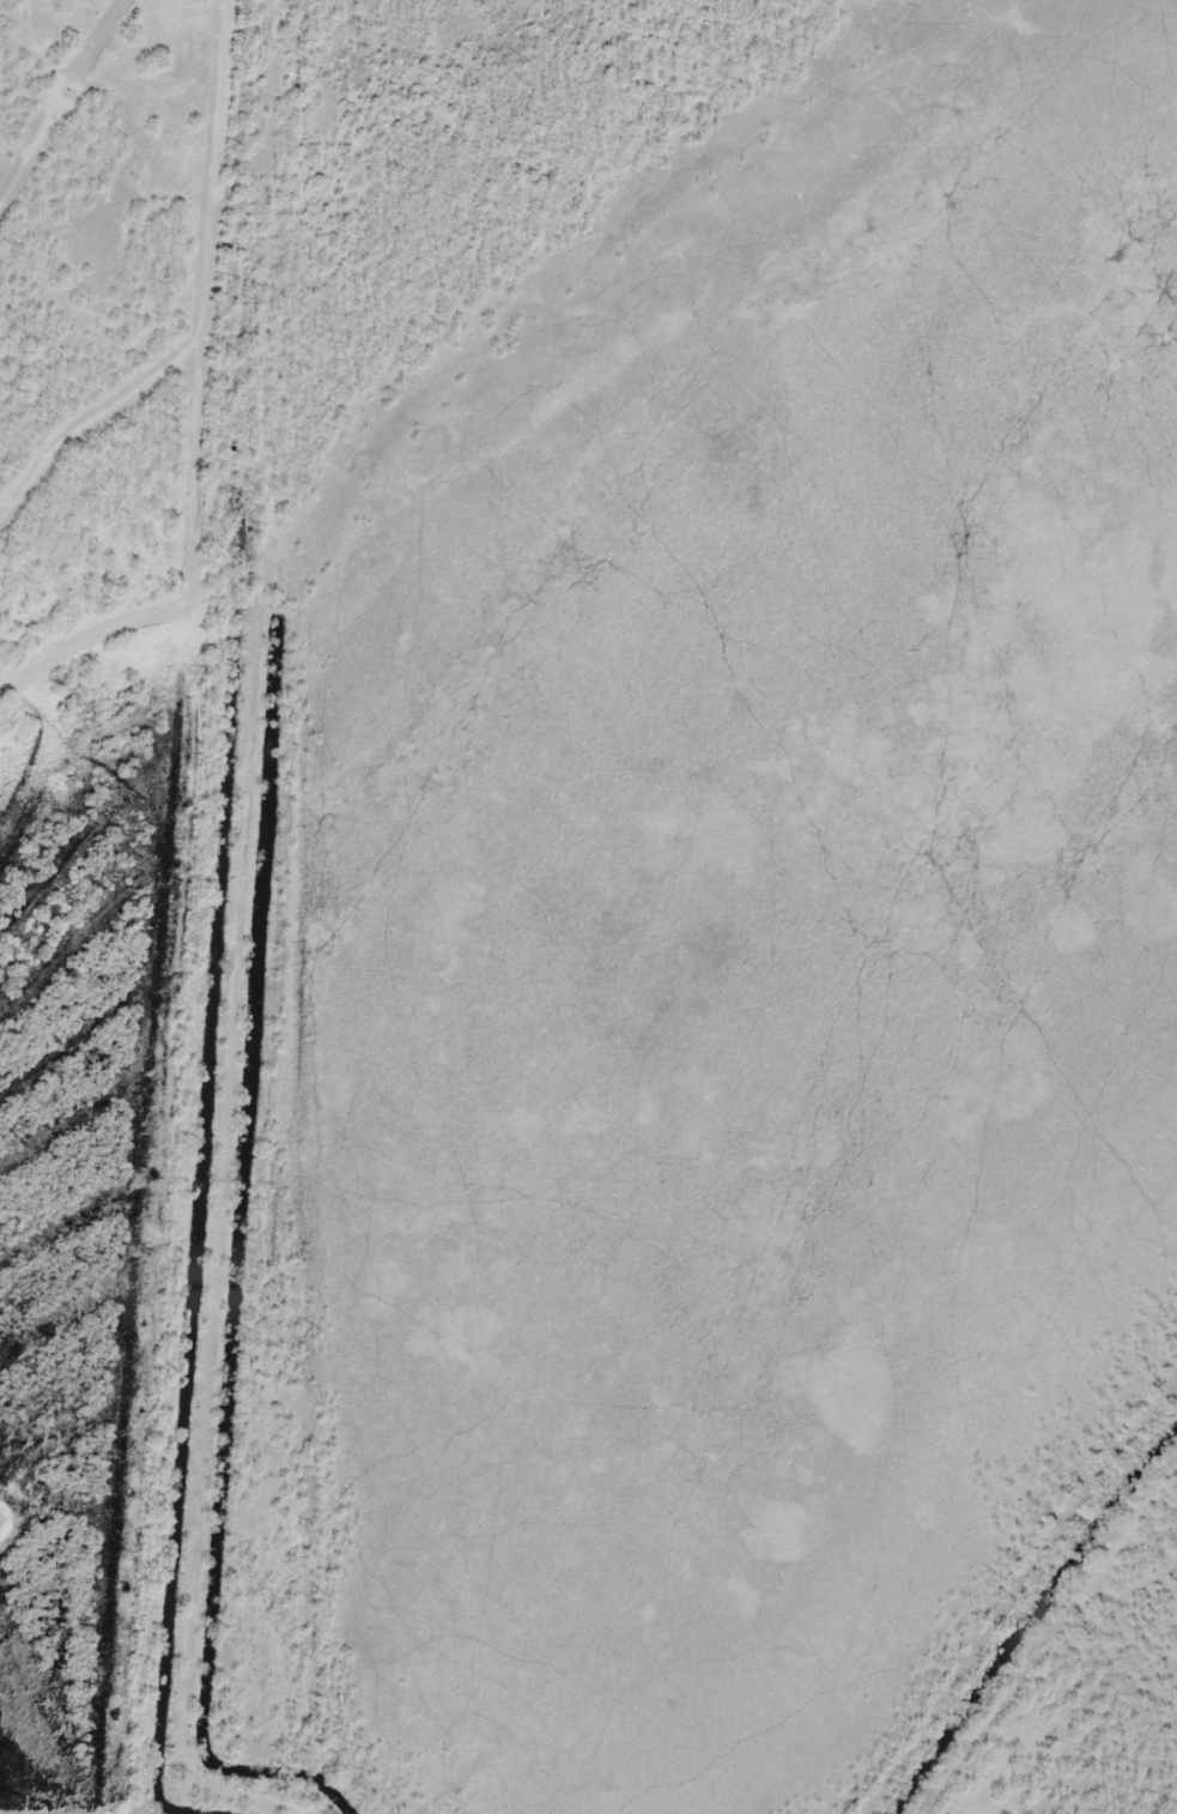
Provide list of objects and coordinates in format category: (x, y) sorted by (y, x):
road: (333, 240)
road: (213, 285)
road: (176, 1083)

